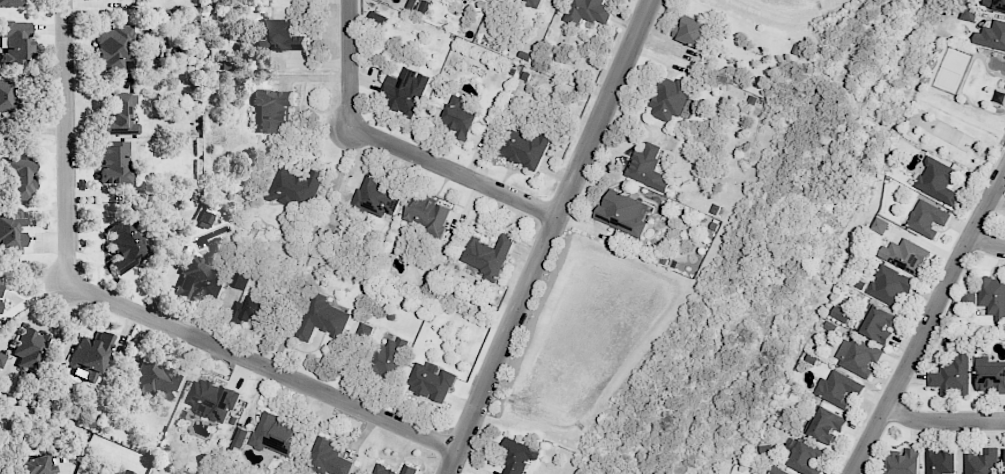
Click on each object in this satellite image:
building: (533, 2)
building: (11, 3)
building: (995, 4)
building: (425, 6)
building: (588, 11)
building: (968, 13)
building: (376, 18)
building: (692, 31)
building: (992, 35)
building: (280, 36)
building: (16, 41)
building: (113, 47)
building: (403, 90)
building: (7, 95)
building: (670, 98)
building: (273, 110)
building: (120, 116)
building: (459, 117)
road: (395, 145)
building: (526, 147)
building: (115, 163)
building: (647, 167)
building: (20, 178)
building: (937, 180)
building: (295, 188)
building: (376, 196)
building: (623, 212)
building: (427, 213)
building: (205, 219)
building: (927, 219)
building: (879, 225)
building: (10, 230)
road: (547, 236)
building: (127, 244)
road: (986, 244)
building: (486, 254)
building: (905, 255)
building: (240, 278)
building: (198, 279)
building: (890, 285)
building: (969, 296)
building: (992, 296)
building: (0, 310)
building: (250, 310)
road: (131, 311)
building: (840, 314)
building: (323, 319)
road: (927, 321)
building: (877, 323)
building: (364, 331)
building: (30, 347)
building: (858, 355)
building: (89, 356)
building: (388, 356)
building: (2, 359)
building: (952, 375)
building: (991, 378)
building: (158, 380)
building: (431, 381)
building: (839, 389)
building: (213, 401)
road: (943, 421)
building: (826, 425)
building: (275, 434)
building: (240, 438)
building: (516, 456)
building: (328, 458)
building: (805, 458)
building: (939, 460)
building: (904, 461)
building: (981, 462)
building: (37, 465)
building: (380, 466)
building: (778, 471)
building: (119, 472)

